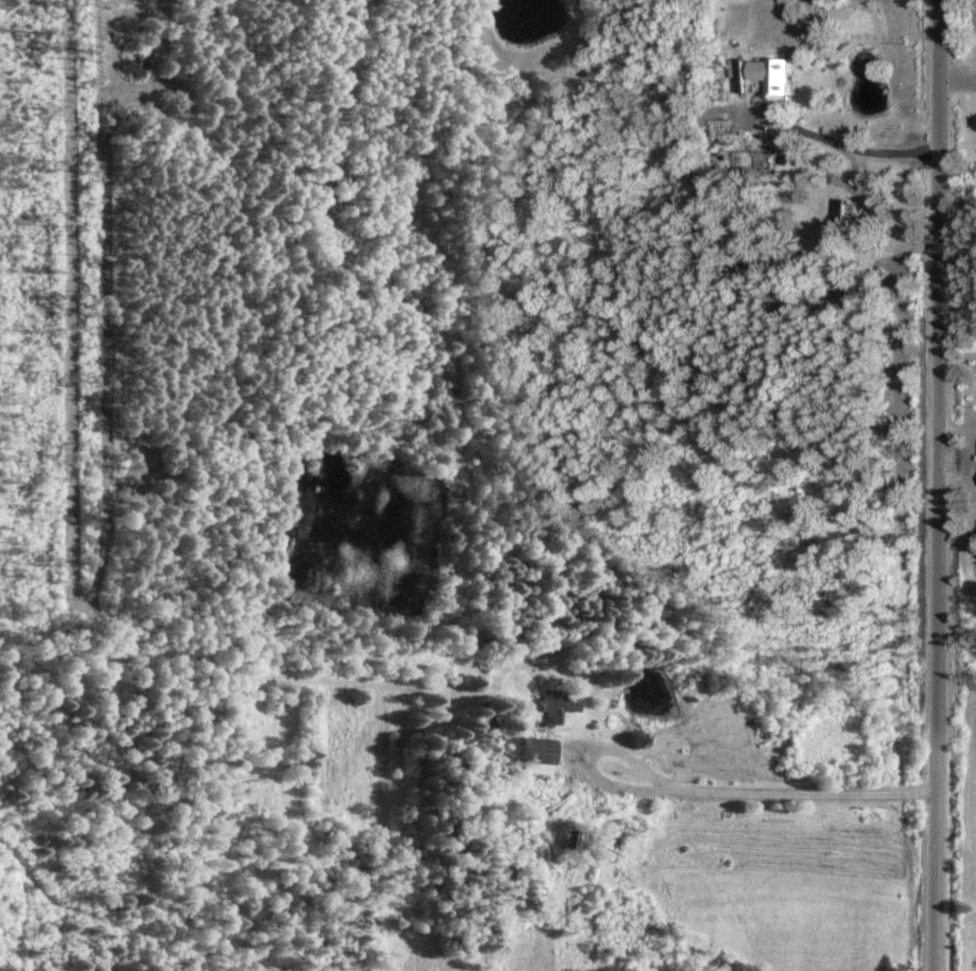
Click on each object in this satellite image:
building: (775, 75)
road: (852, 146)
building: (842, 218)
road: (941, 485)
building: (562, 705)
building: (542, 751)
road: (740, 789)

